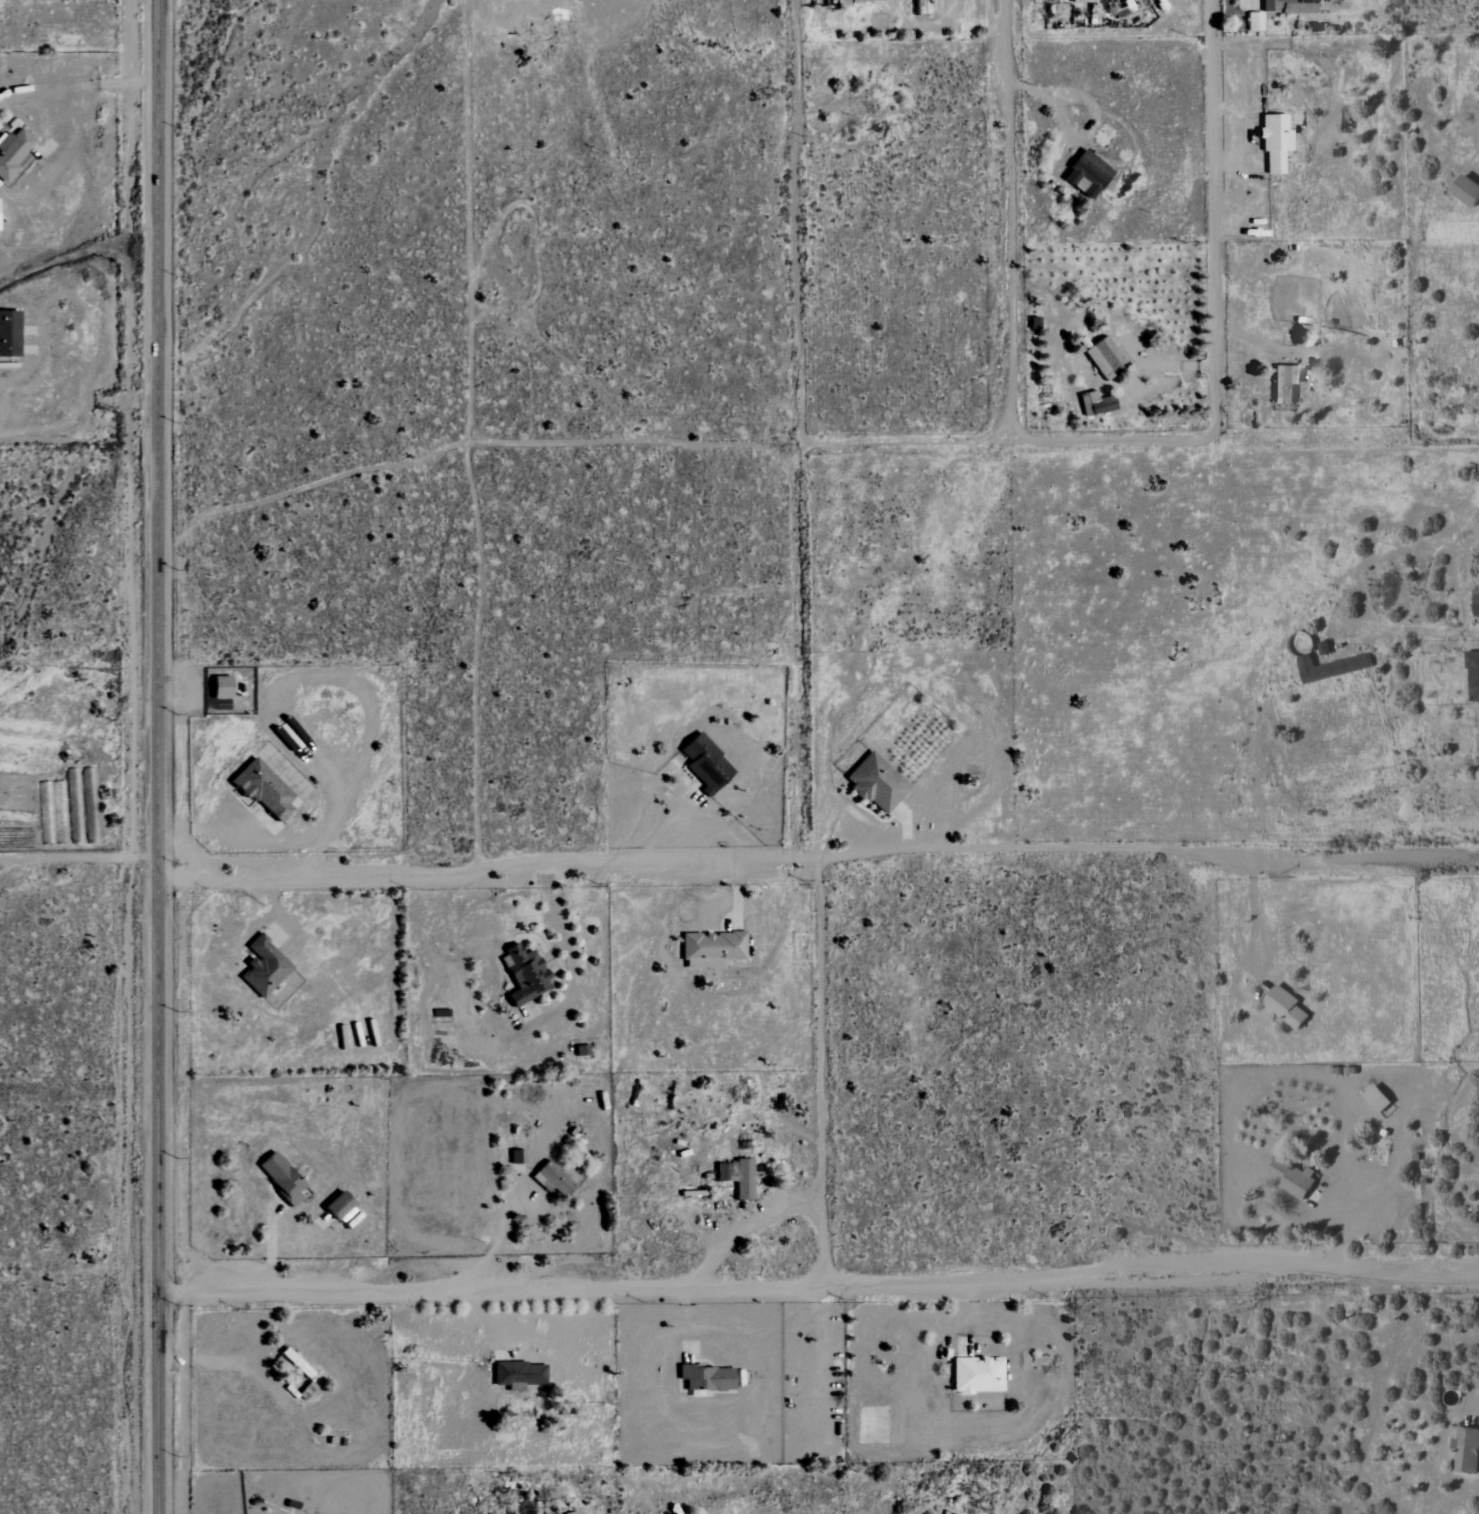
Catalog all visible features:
building: (1287, 6)
building: (1254, 21)
road: (90, 88)
road: (1084, 107)
road: (1238, 135)
building: (1274, 141)
building: (12, 152)
building: (1085, 174)
building: (1466, 190)
road: (1212, 217)
road: (472, 220)
road: (1003, 220)
road: (795, 225)
building: (8, 334)
building: (1105, 358)
building: (1284, 383)
building: (1094, 404)
road: (78, 447)
road: (842, 448)
building: (1476, 601)
road: (793, 652)
building: (1330, 668)
building: (219, 688)
road: (273, 736)
road: (155, 757)
building: (704, 764)
building: (875, 784)
building: (261, 789)
road: (665, 823)
road: (905, 827)
road: (817, 856)
road: (77, 858)
road: (736, 890)
road: (278, 912)
road: (1252, 919)
road: (561, 923)
building: (711, 949)
building: (263, 967)
building: (524, 975)
building: (1284, 1007)
road: (821, 1074)
building: (736, 1177)
building: (280, 1178)
building: (554, 1178)
building: (1291, 1179)
building: (336, 1205)
road: (1352, 1213)
road: (738, 1216)
road: (490, 1229)
road: (267, 1245)
road: (818, 1292)
building: (518, 1375)
building: (977, 1375)
building: (705, 1378)
building: (1466, 1450)

